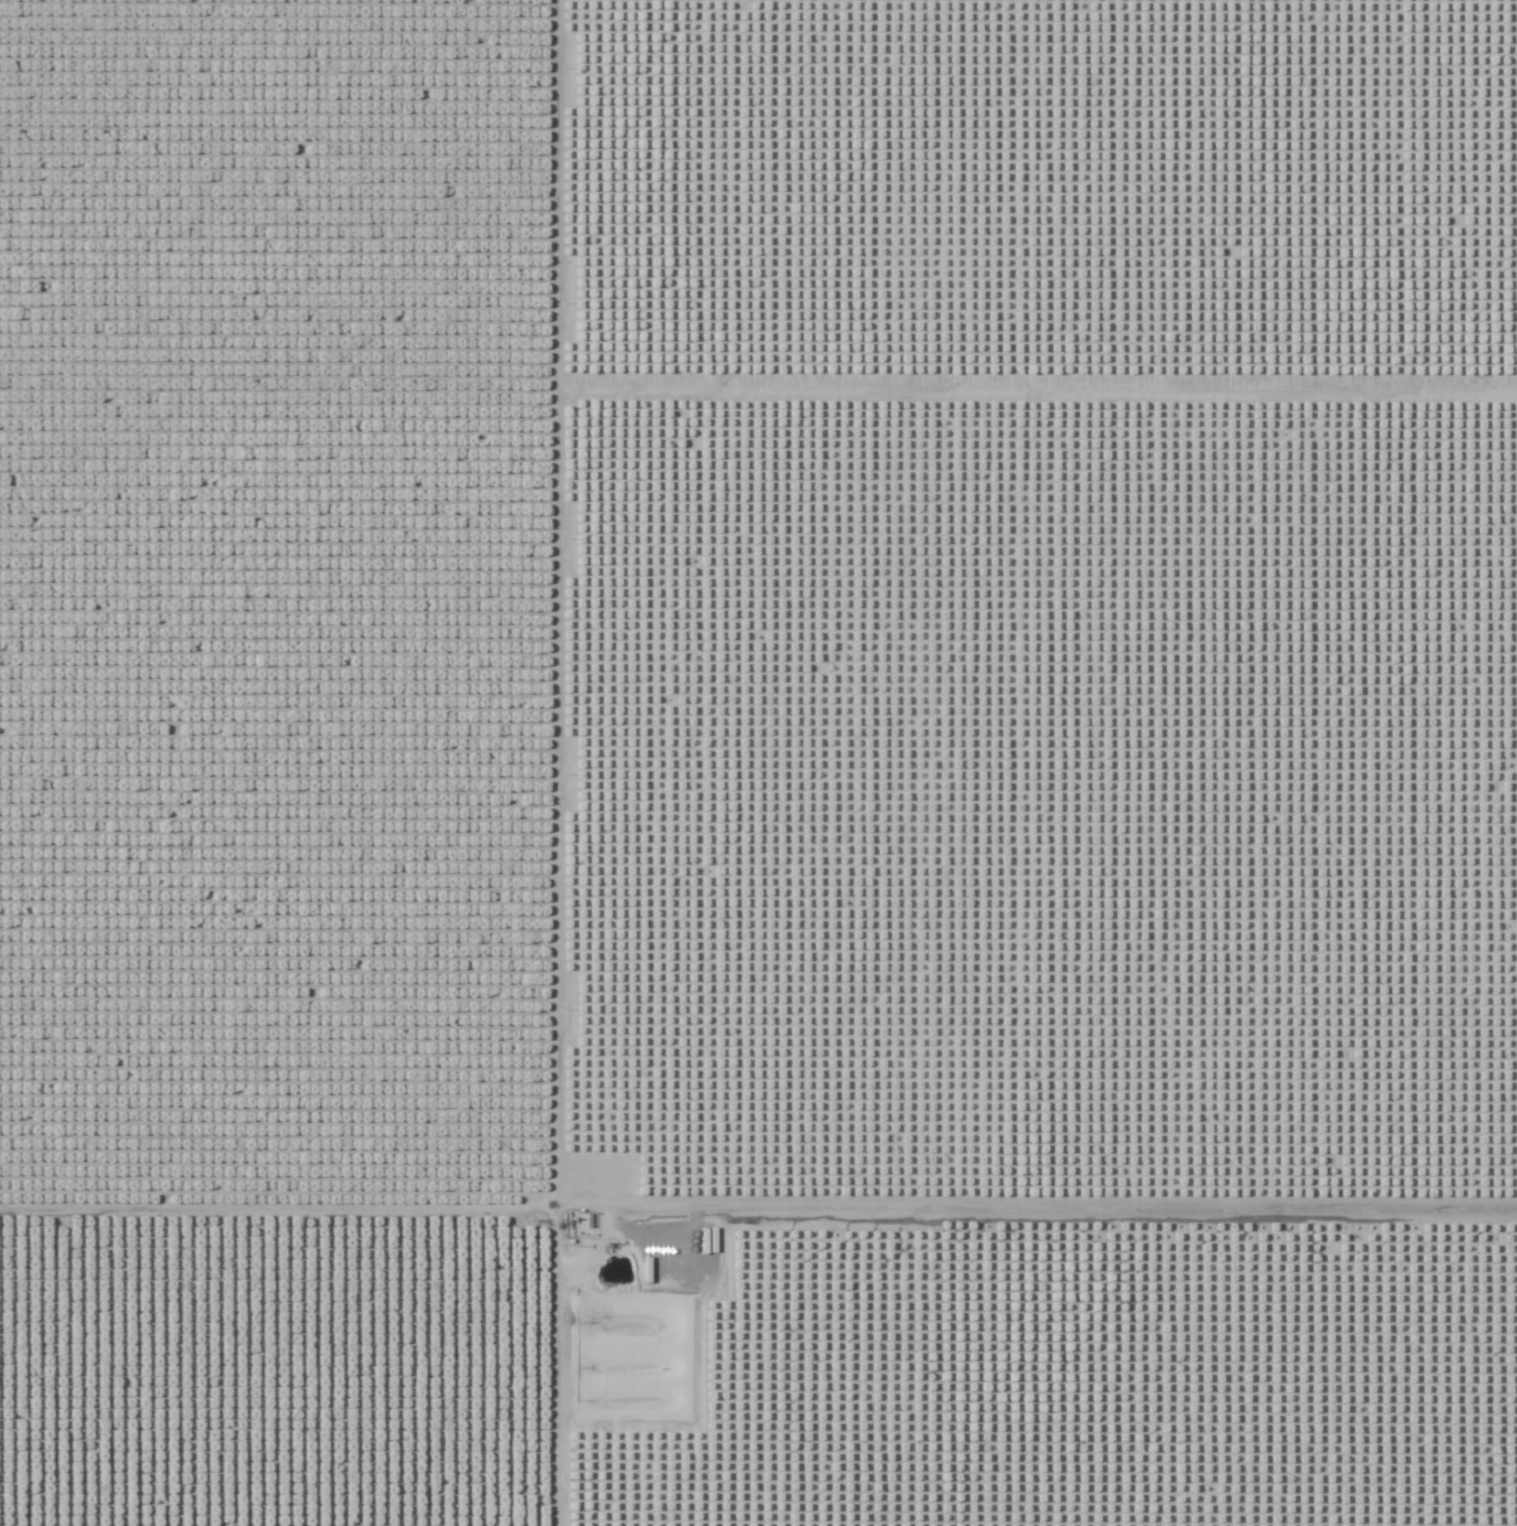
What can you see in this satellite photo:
crop: (758, 763)

